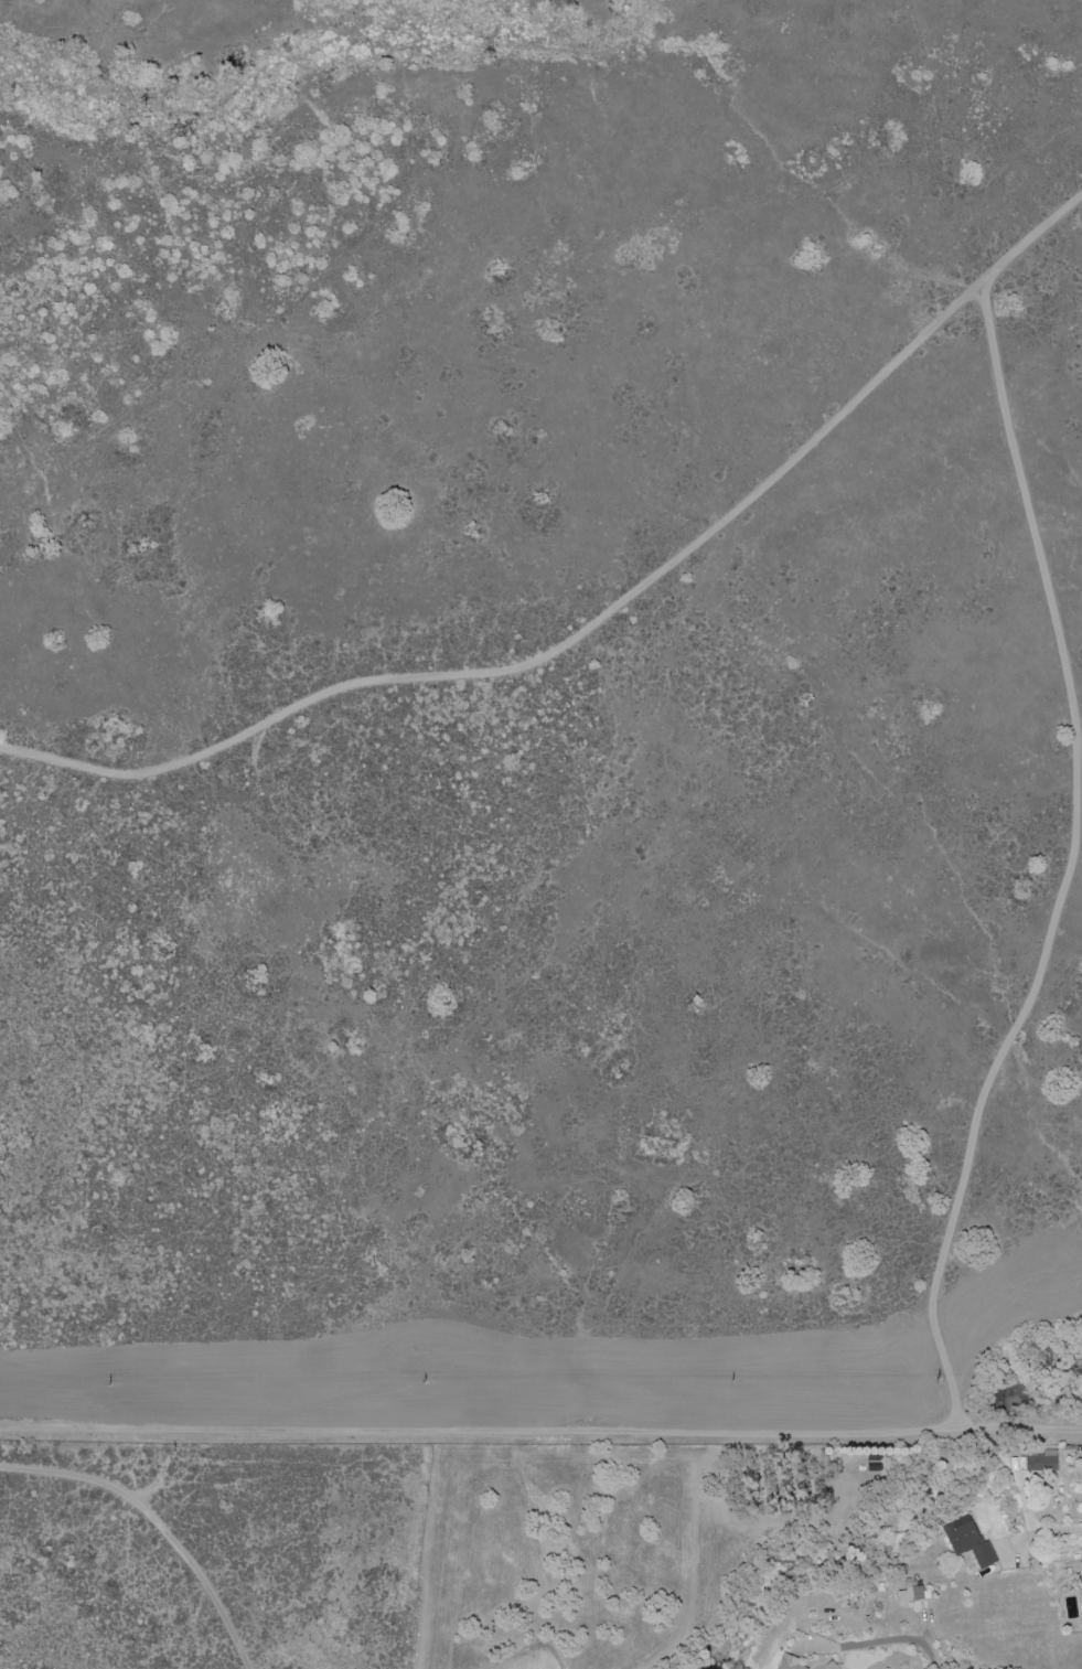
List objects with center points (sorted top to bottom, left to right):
road: (540, 1433)
building: (1042, 1461)
road: (157, 1521)
road: (1044, 1531)
building: (969, 1541)
building: (911, 1594)
road: (891, 1638)
building: (790, 1662)

